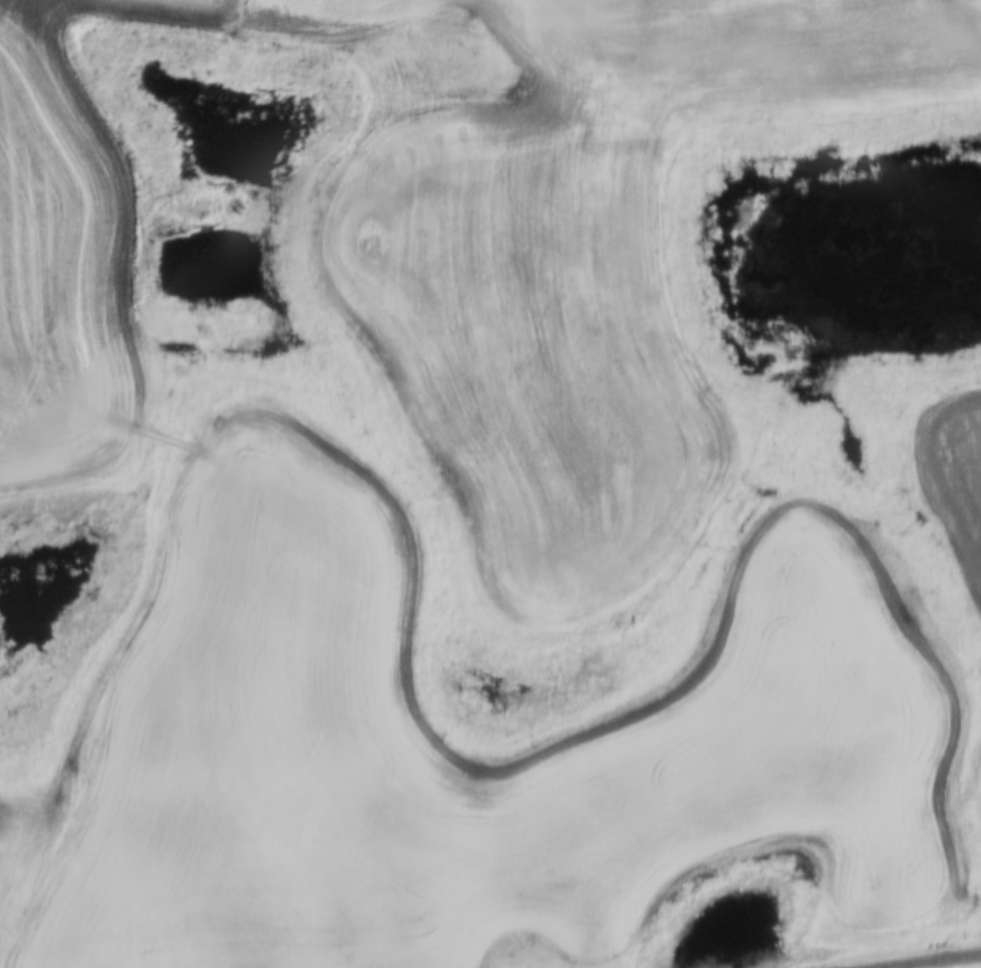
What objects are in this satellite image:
railway: (933, 961)

